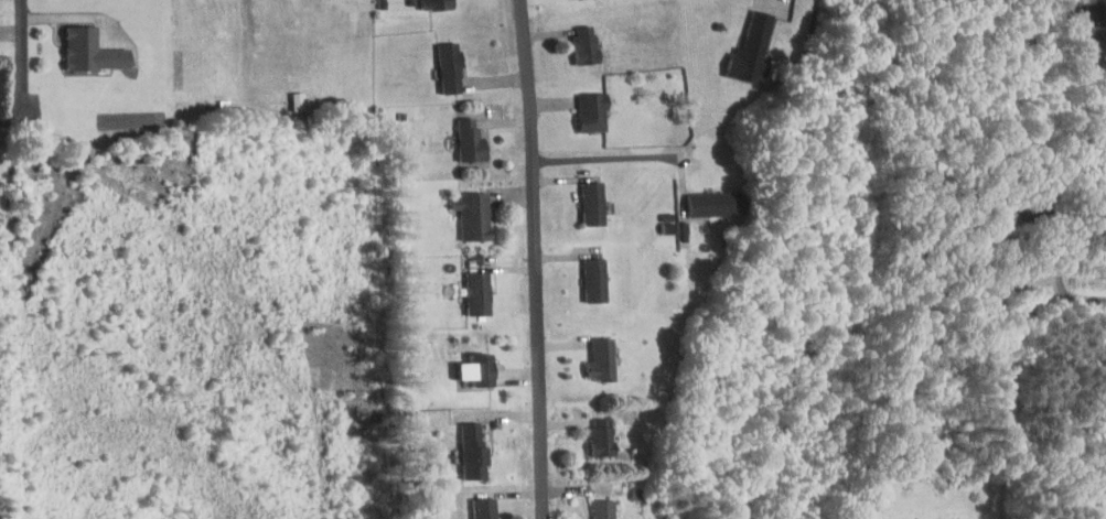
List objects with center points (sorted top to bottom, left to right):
building: (425, 1)
road: (83, 18)
building: (575, 37)
building: (82, 43)
building: (741, 43)
building: (439, 60)
road: (23, 63)
building: (288, 94)
building: (582, 105)
building: (459, 133)
road: (608, 159)
building: (582, 195)
building: (702, 196)
building: (463, 208)
road: (536, 259)
building: (584, 272)
building: (468, 285)
road: (1067, 306)
building: (591, 352)
building: (466, 363)
road: (1020, 412)
building: (591, 430)
building: (462, 443)
building: (474, 505)
building: (592, 506)
building: (921, 516)

